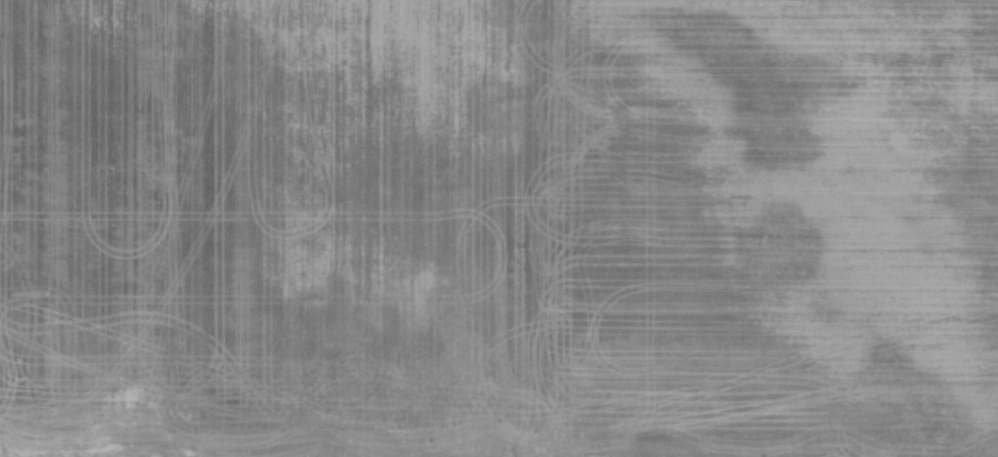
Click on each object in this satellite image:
crop: (499, 228)

